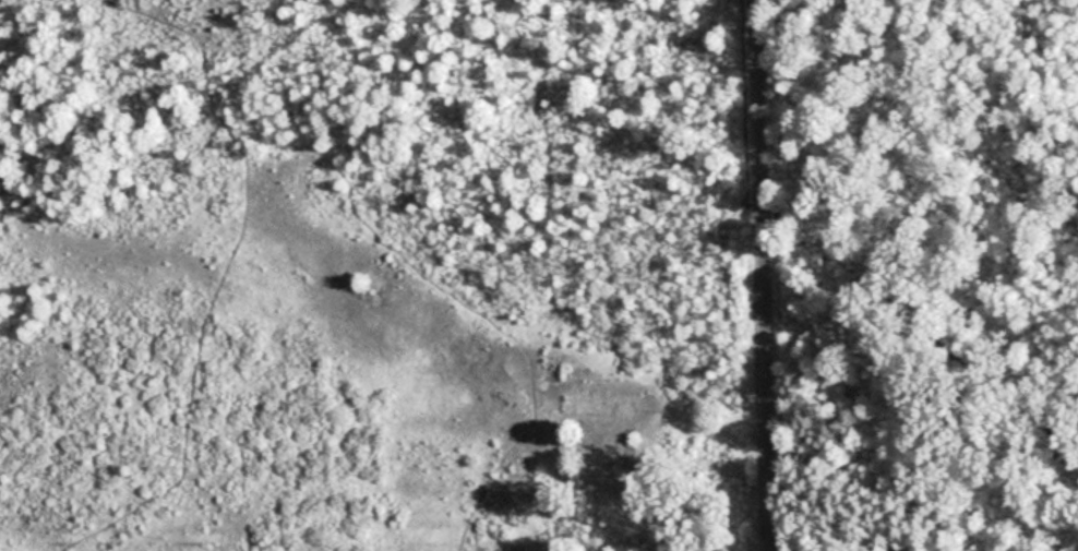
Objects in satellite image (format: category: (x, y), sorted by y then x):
park: (918, 273)
road: (765, 275)

